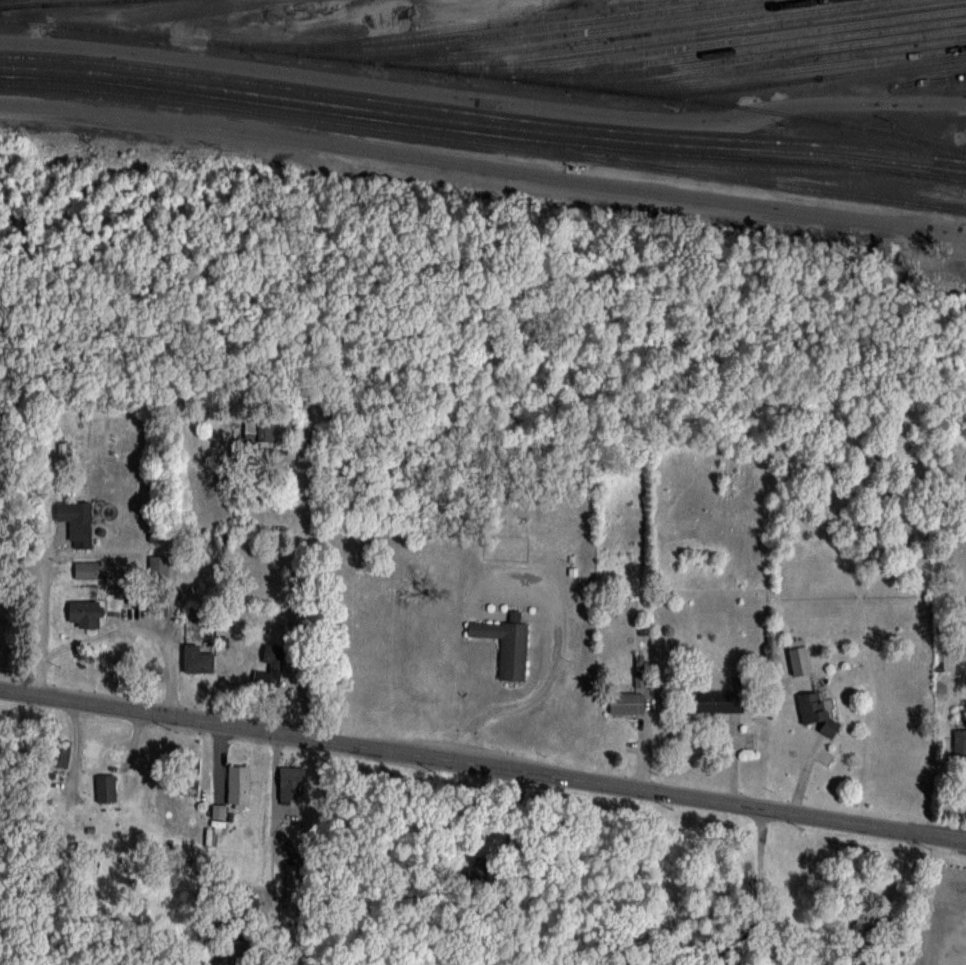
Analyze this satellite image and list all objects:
railway: (28, 2)
railway: (61, 2)
railway: (461, 28)
railway: (526, 28)
railway: (563, 34)
railway: (641, 34)
railway: (682, 37)
railway: (714, 43)
railway: (751, 48)
railway: (724, 61)
railway: (787, 62)
railway: (765, 73)
railway: (484, 75)
railway: (798, 79)
railway: (931, 79)
road: (482, 97)
railway: (482, 113)
railway: (482, 123)
railway: (482, 133)
railway: (483, 142)
road: (483, 163)
railway: (764, 168)
building: (258, 431)
building: (77, 521)
building: (223, 537)
building: (158, 566)
building: (87, 570)
building: (159, 606)
building: (85, 613)
road: (40, 624)
road: (137, 632)
building: (506, 643)
building: (275, 653)
building: (197, 658)
building: (799, 660)
building: (266, 680)
building: (715, 701)
road: (519, 703)
building: (626, 703)
building: (815, 711)
building: (959, 741)
building: (61, 753)
road: (482, 765)
building: (189, 772)
building: (291, 785)
building: (238, 786)
building: (105, 787)
building: (250, 907)
building: (866, 922)
building: (696, 933)

